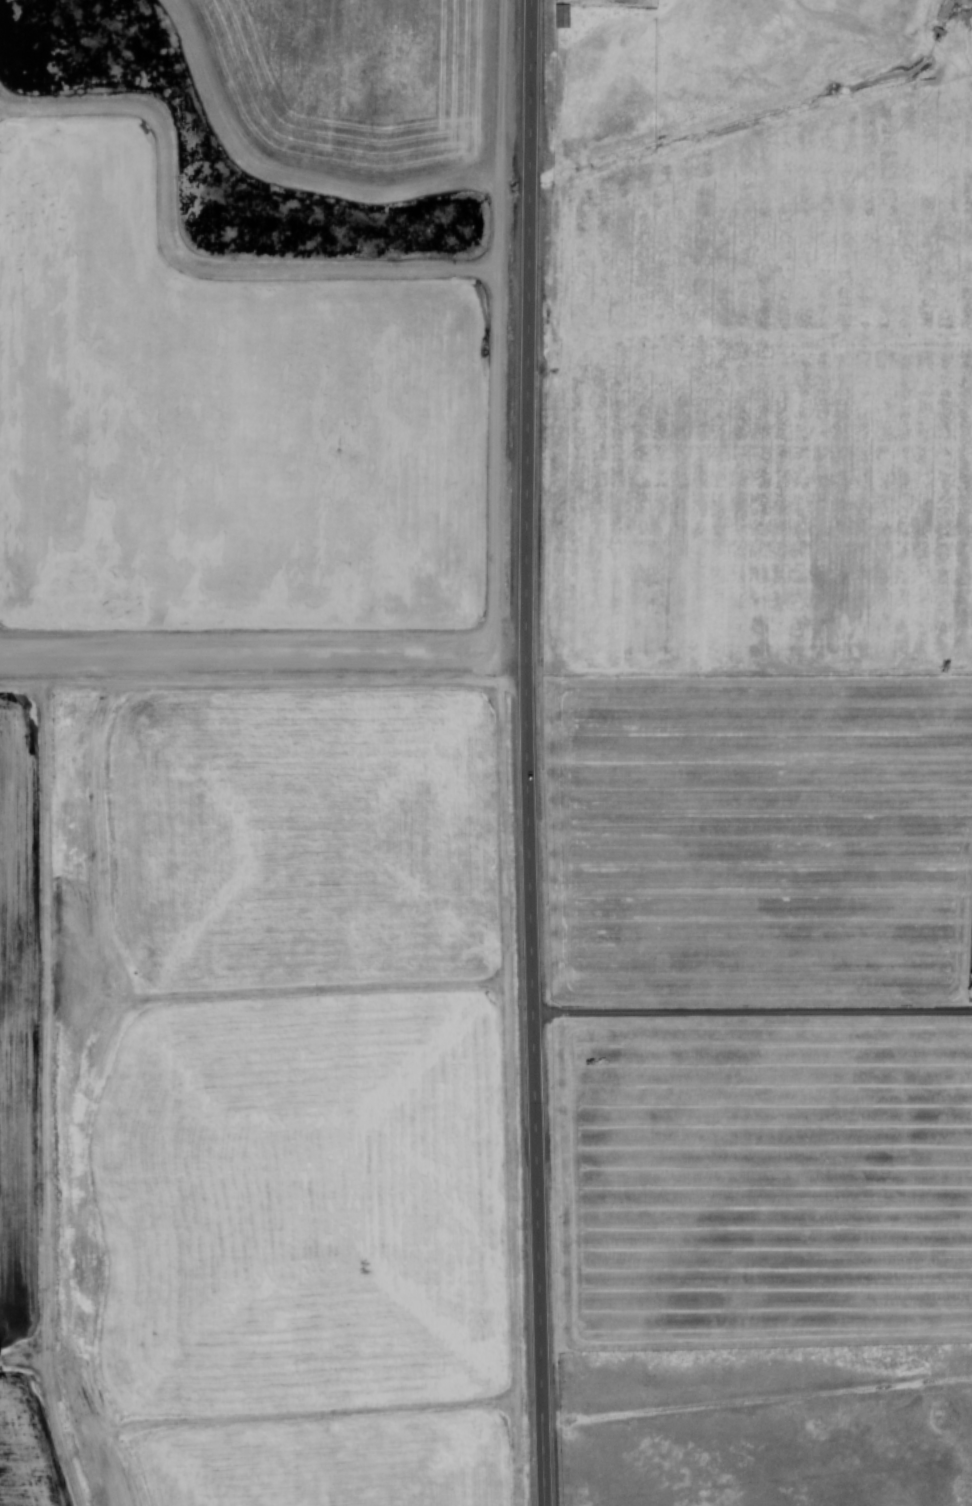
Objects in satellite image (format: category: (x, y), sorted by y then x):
road: (527, 753)

